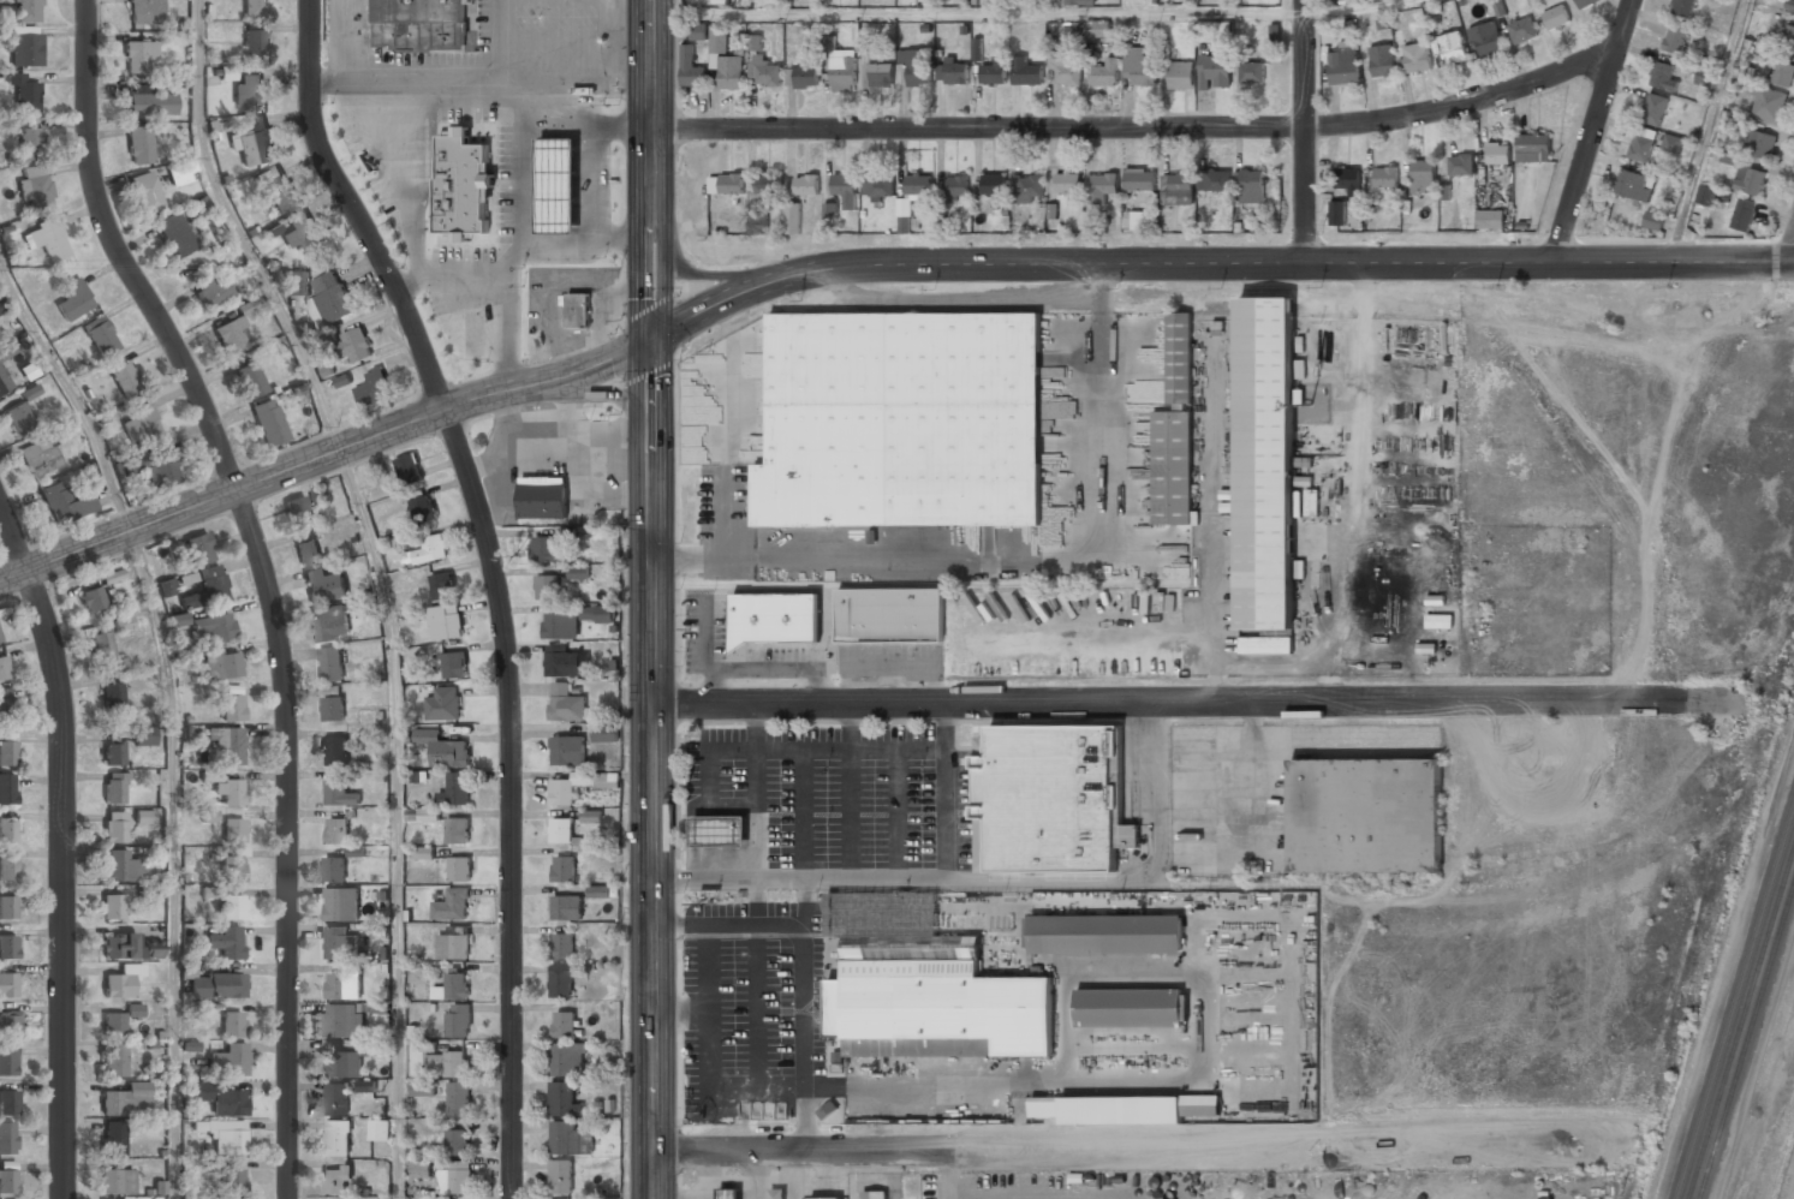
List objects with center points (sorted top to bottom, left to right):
building: (177, 0)
building: (1079, 1)
building: (1586, 2)
building: (1790, 5)
building: (1681, 7)
building: (256, 8)
building: (26, 10)
road: (1359, 10)
building: (7, 12)
building: (145, 12)
road: (977, 13)
building: (1556, 17)
building: (422, 24)
building: (1098, 28)
building: (1522, 29)
building: (699, 31)
building: (1788, 36)
building: (1485, 38)
building: (719, 40)
building: (1675, 40)
building: (755, 42)
building: (255, 43)
building: (26, 44)
building: (866, 46)
building: (1452, 47)
building: (139, 56)
building: (1417, 56)
building: (1382, 60)
building: (1343, 65)
building: (917, 66)
building: (1139, 67)
building: (691, 68)
building: (1065, 68)
building: (842, 70)
building: (732, 71)
building: (764, 71)
building: (1026, 71)
building: (1214, 71)
building: (955, 72)
building: (993, 72)
building: (1107, 72)
building: (1251, 72)
building: (1783, 73)
building: (804, 74)
building: (1181, 74)
building: (1663, 74)
building: (881, 76)
building: (1705, 77)
building: (250, 89)
building: (25, 91)
building: (1769, 103)
building: (151, 105)
building: (1653, 108)
road: (1139, 127)
road: (1592, 130)
road: (1707, 130)
road: (1305, 131)
building: (31, 141)
building: (254, 142)
building: (1643, 143)
building: (1671, 143)
building: (1760, 143)
building: (139, 145)
building: (1533, 148)
building: (1497, 153)
building: (1460, 163)
road: (649, 169)
building: (181, 173)
building: (1423, 174)
building: (1387, 175)
building: (1140, 179)
building: (1348, 179)
building: (1750, 179)
building: (1214, 180)
building: (765, 181)
building: (1067, 181)
building: (1179, 181)
building: (806, 183)
building: (463, 184)
building: (559, 184)
building: (726, 184)
building: (918, 184)
building: (994, 184)
building: (1634, 184)
building: (34, 185)
building: (877, 185)
building: (956, 185)
building: (1252, 185)
building: (845, 186)
building: (1102, 186)
building: (1027, 187)
building: (275, 190)
building: (147, 192)
building: (1444, 192)
building: (1707, 195)
building: (830, 210)
building: (1337, 213)
building: (1744, 214)
building: (793, 217)
building: (1169, 219)
building: (1491, 219)
building: (1653, 219)
building: (1140, 220)
road: (239, 232)
building: (175, 234)
building: (305, 234)
building: (48, 238)
building: (572, 247)
road: (1792, 253)
road: (1792, 260)
road: (1212, 263)
road: (705, 274)
building: (296, 282)
building: (211, 291)
building: (475, 293)
building: (332, 297)
building: (74, 299)
building: (2, 305)
building: (578, 310)
building: (101, 335)
building: (232, 336)
traffic signals: (650, 340)
building: (353, 345)
building: (8, 350)
building: (1180, 357)
building: (125, 377)
building: (250, 380)
building: (4, 381)
building: (372, 388)
road: (71, 396)
building: (19, 417)
building: (904, 419)
building: (268, 422)
building: (141, 423)
building: (538, 428)
road: (323, 457)
building: (40, 458)
building: (1266, 464)
building: (409, 469)
building: (1173, 469)
building: (165, 470)
building: (318, 495)
building: (543, 499)
building: (71, 502)
building: (423, 508)
building: (297, 511)
building: (1069, 535)
building: (404, 538)
building: (199, 549)
building: (547, 550)
building: (308, 551)
building: (427, 551)
building: (578, 572)
road: (264, 580)
road: (496, 580)
building: (324, 585)
building: (442, 586)
building: (547, 586)
building: (166, 587)
building: (207, 587)
building: (93, 599)
building: (597, 613)
building: (890, 615)
building: (776, 618)
building: (178, 620)
building: (446, 621)
building: (1438, 621)
building: (329, 622)
building: (561, 626)
building: (213, 627)
building: (0, 639)
building: (102, 644)
building: (1266, 645)
building: (561, 661)
building: (330, 663)
building: (221, 664)
building: (454, 664)
building: (4, 668)
building: (4, 693)
building: (112, 696)
building: (443, 703)
building: (565, 703)
building: (232, 708)
building: (333, 708)
road: (1192, 708)
building: (6, 709)
building: (606, 734)
building: (144, 736)
building: (228, 744)
building: (443, 747)
building: (566, 750)
building: (335, 751)
building: (7, 752)
building: (113, 753)
road: (652, 769)
building: (579, 785)
building: (8, 788)
building: (455, 788)
building: (114, 789)
building: (231, 791)
building: (339, 793)
building: (1050, 799)
building: (423, 815)
building: (1365, 815)
building: (209, 816)
building: (591, 816)
building: (144, 817)
road: (398, 821)
building: (114, 827)
building: (338, 829)
building: (561, 829)
building: (8, 830)
building: (233, 830)
building: (457, 830)
building: (720, 830)
road: (61, 847)
building: (356, 851)
building: (424, 852)
road: (171, 861)
building: (120, 866)
building: (8, 867)
building: (232, 867)
building: (459, 867)
building: (564, 867)
building: (334, 869)
building: (600, 890)
building: (341, 903)
building: (452, 903)
building: (233, 906)
building: (112, 907)
building: (566, 907)
building: (8, 908)
building: (1103, 933)
building: (226, 941)
building: (340, 942)
building: (562, 944)
building: (453, 946)
building: (8, 947)
building: (124, 947)
building: (187, 970)
building: (562, 980)
building: (121, 982)
building: (8, 985)
building: (217, 985)
building: (344, 985)
building: (453, 986)
building: (925, 986)
railway: (1735, 1006)
building: (1132, 1008)
building: (135, 1010)
building: (340, 1021)
building: (458, 1021)
building: (10, 1022)
building: (564, 1024)
building: (232, 1025)
railway: (1741, 1025)
building: (113, 1026)
railway: (1747, 1044)
building: (567, 1058)
building: (115, 1060)
building: (8, 1061)
building: (227, 1061)
building: (344, 1063)
building: (447, 1063)
building: (366, 1085)
building: (419, 1088)
building: (336, 1098)
building: (459, 1098)
building: (127, 1099)
building: (222, 1099)
building: (564, 1099)
building: (8, 1103)
building: (829, 1109)
building: (1126, 1109)
building: (379, 1129)
building: (223, 1135)
building: (114, 1138)
building: (338, 1138)
building: (7, 1139)
building: (568, 1139)
building: (458, 1141)
road: (1025, 1147)
building: (421, 1168)
building: (561, 1176)
building: (457, 1177)
building: (232, 1181)
building: (336, 1181)
building: (8, 1182)
building: (115, 1182)
building: (728, 1193)
building: (875, 1194)
building: (826, 1198)

